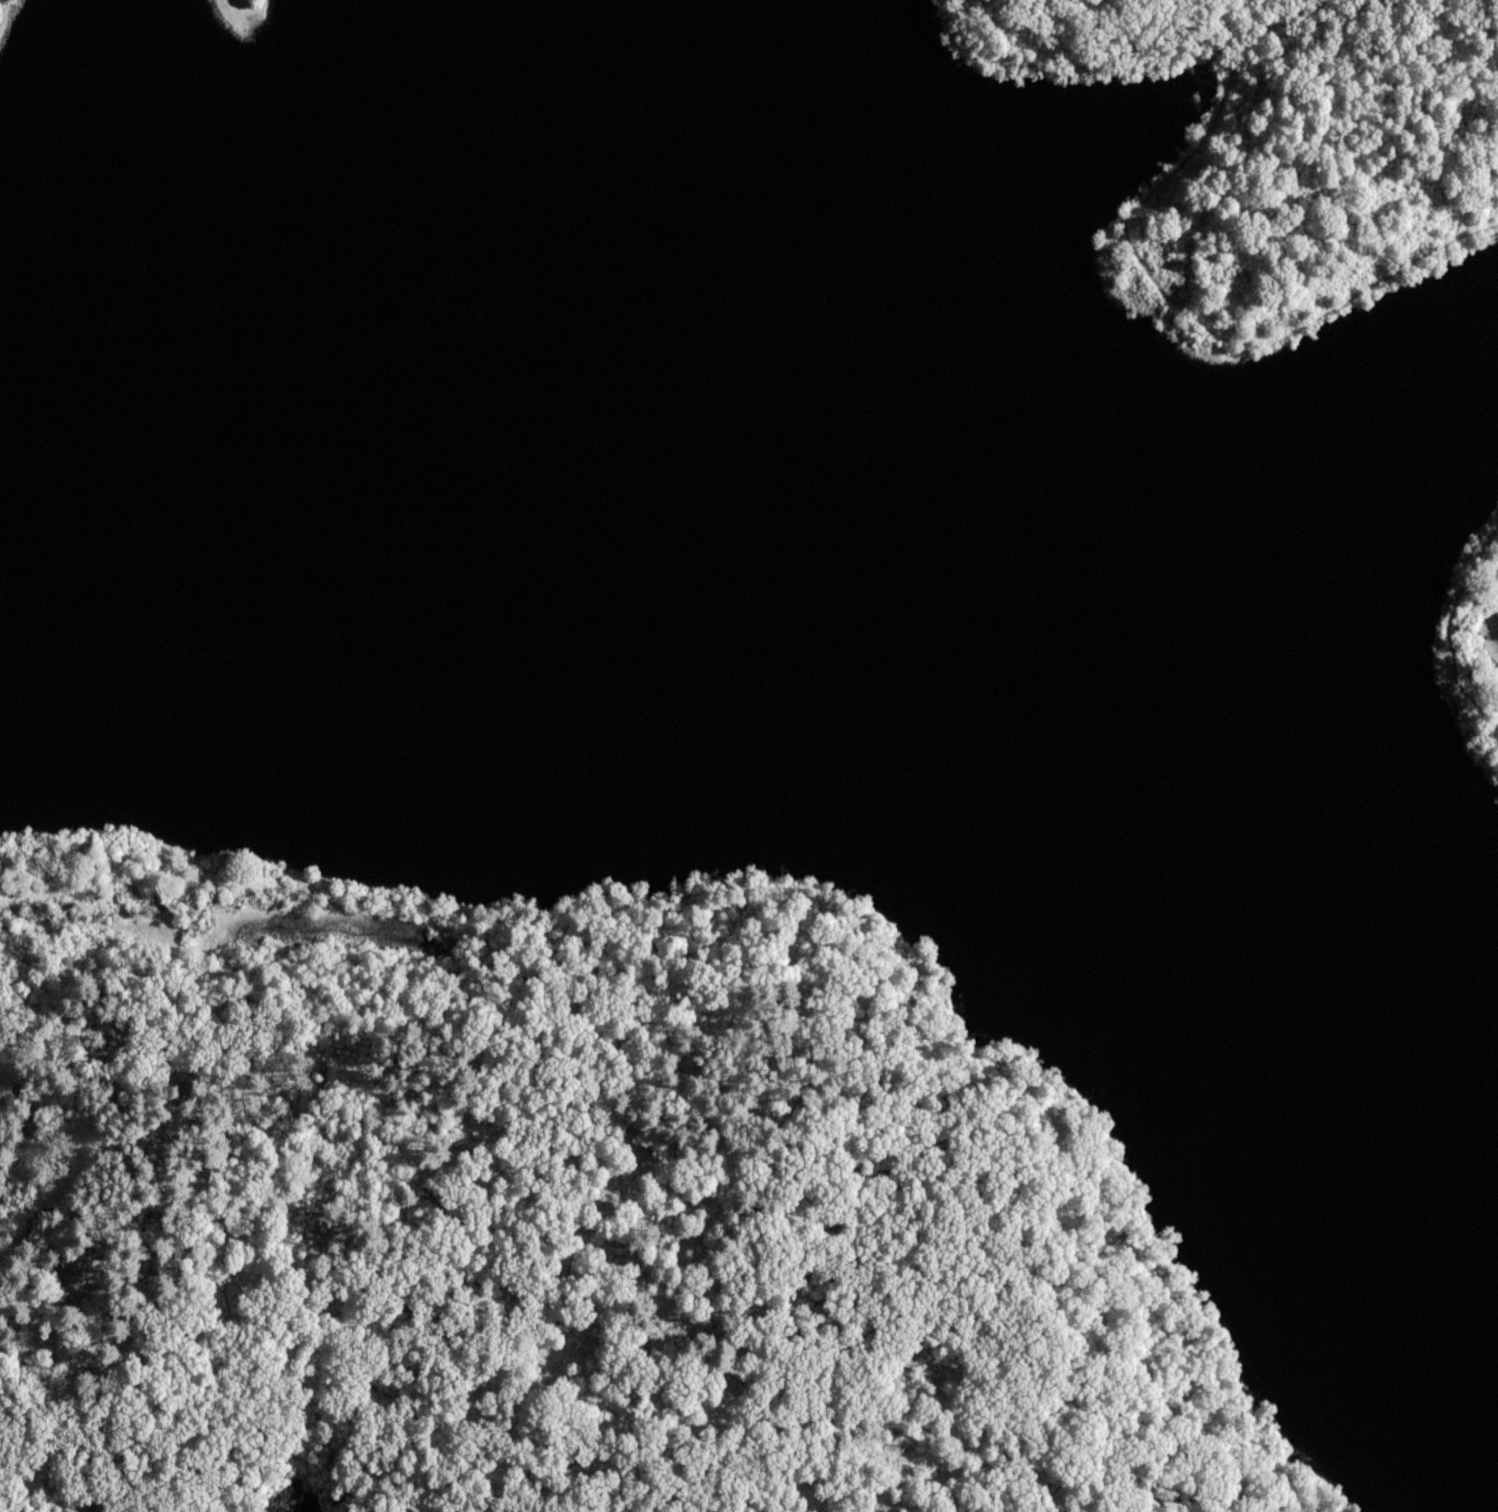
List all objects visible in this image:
road: (1155, 193)
road: (1453, 635)

